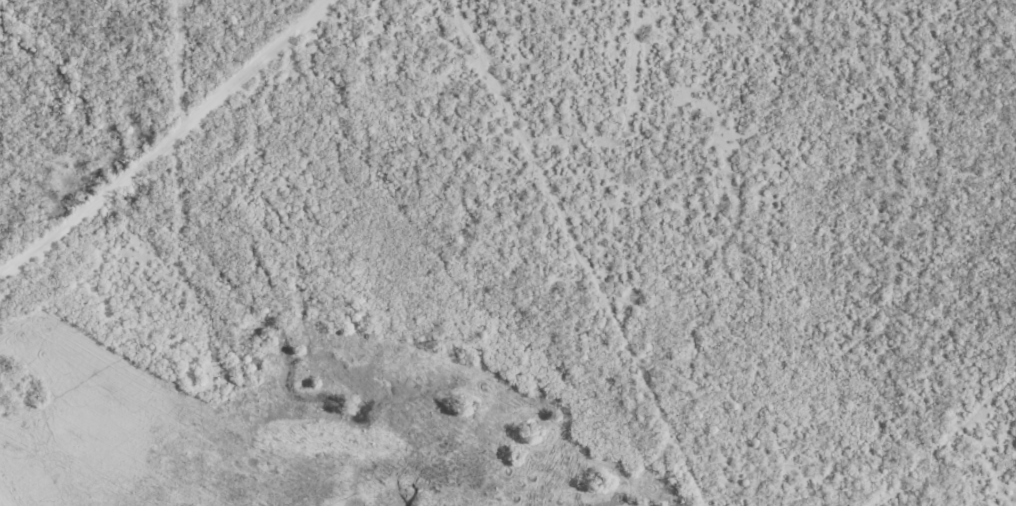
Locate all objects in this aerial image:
road: (170, 141)

